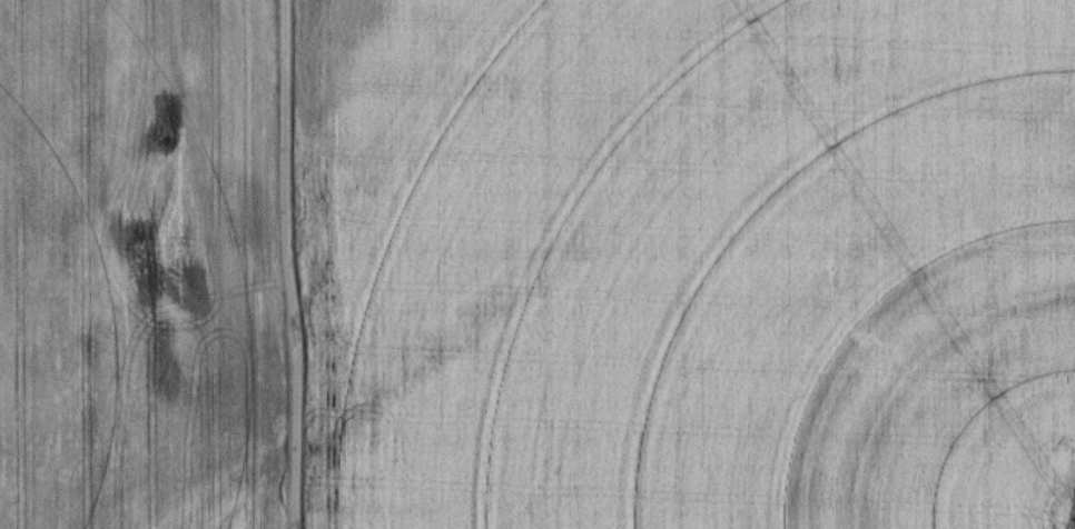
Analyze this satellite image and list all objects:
airport: (235, 498)

